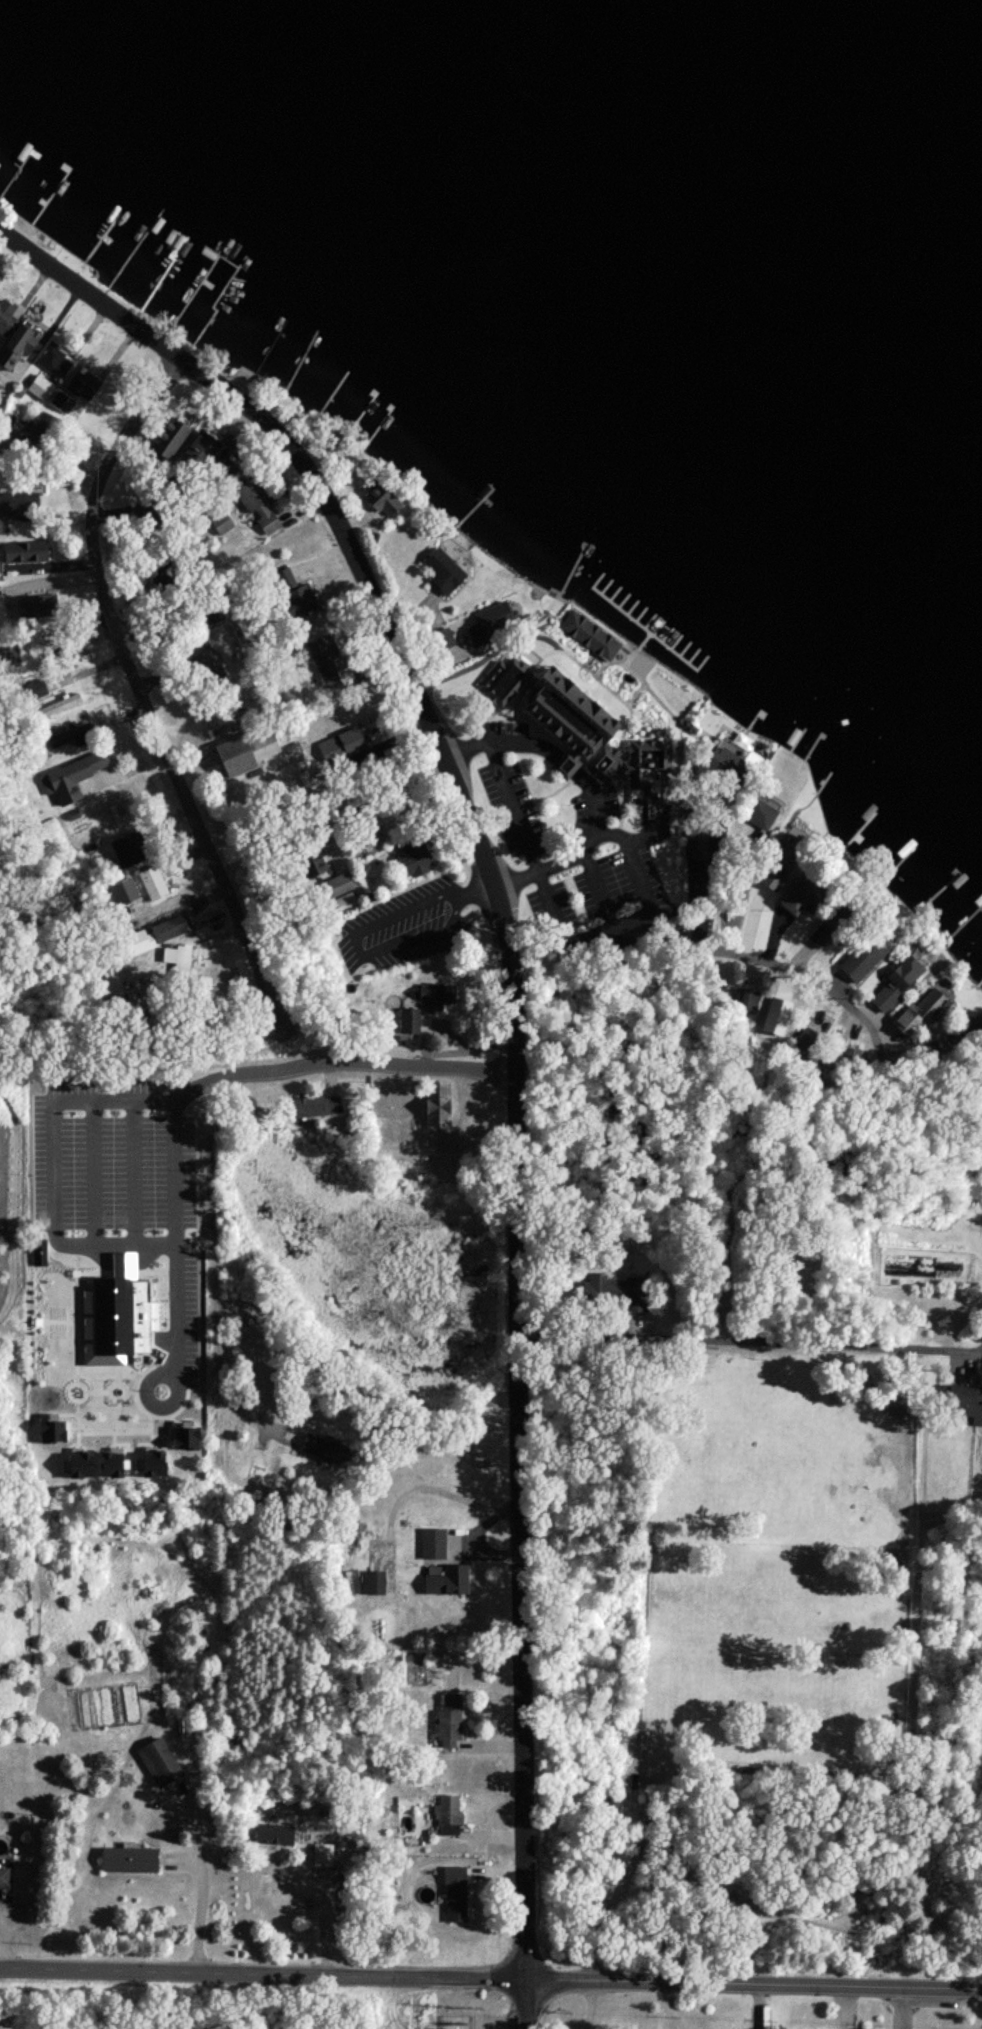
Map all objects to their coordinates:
building: (7, 317)
building: (19, 350)
building: (55, 364)
building: (84, 388)
building: (42, 391)
building: (173, 440)
building: (201, 456)
building: (252, 500)
building: (384, 503)
building: (19, 508)
building: (24, 556)
building: (446, 574)
building: (308, 601)
building: (39, 608)
building: (497, 620)
building: (591, 639)
building: (60, 648)
building: (329, 666)
building: (211, 667)
building: (506, 683)
road: (136, 694)
building: (32, 695)
building: (59, 710)
building: (576, 728)
road: (502, 740)
building: (65, 745)
building: (344, 749)
building: (251, 754)
road: (569, 764)
building: (76, 781)
road: (514, 805)
building: (762, 816)
building: (131, 840)
building: (797, 850)
road: (577, 852)
building: (413, 861)
road: (477, 885)
building: (154, 886)
building: (337, 889)
road: (415, 905)
road: (454, 908)
road: (628, 918)
road: (358, 939)
road: (716, 941)
road: (406, 942)
building: (894, 990)
building: (420, 1013)
building: (923, 1013)
road: (514, 1032)
road: (220, 1083)
building: (318, 1108)
road: (54, 1168)
road: (177, 1216)
building: (611, 1293)
road: (748, 1339)
building: (977, 1417)
building: (434, 1551)
building: (449, 1586)
building: (450, 1728)
building: (162, 1767)
building: (447, 1824)
building: (323, 1859)
building: (133, 1864)
road: (196, 1878)
building: (5, 1881)
building: (457, 1898)
road: (491, 1974)
power substation: (457, 2024)

